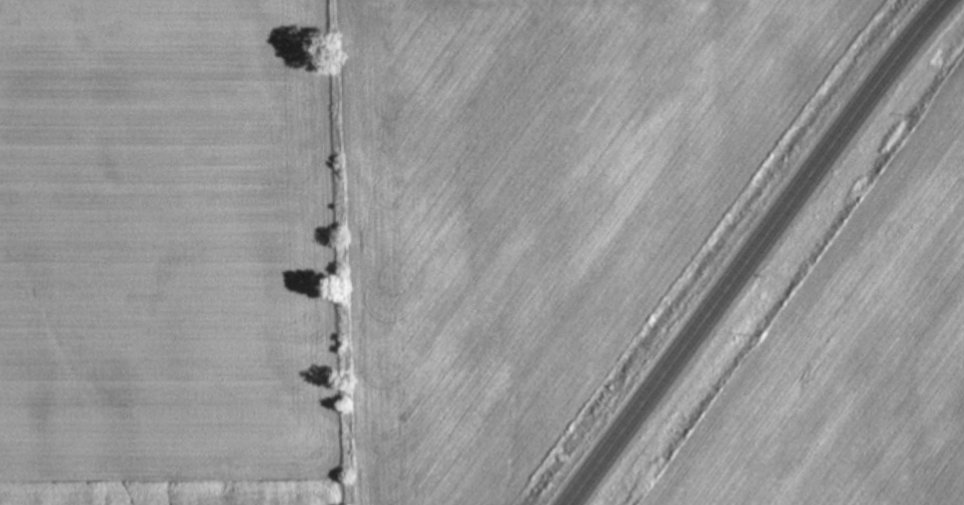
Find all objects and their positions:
road: (752, 250)

